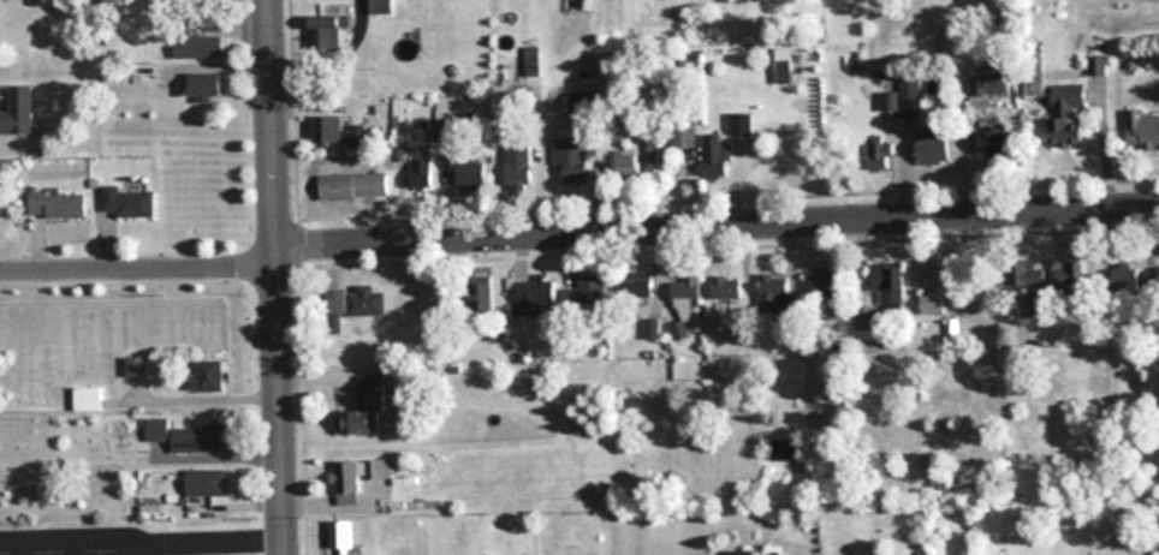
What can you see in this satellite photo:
building: (381, 6)
building: (329, 30)
building: (198, 46)
building: (780, 59)
building: (531, 61)
building: (988, 82)
building: (201, 84)
building: (1033, 85)
building: (910, 95)
building: (586, 102)
building: (18, 111)
building: (1066, 114)
building: (739, 121)
building: (1142, 129)
building: (335, 130)
building: (683, 136)
building: (993, 143)
building: (933, 147)
building: (880, 155)
building: (717, 156)
building: (571, 160)
building: (650, 162)
building: (628, 165)
building: (518, 166)
building: (466, 172)
building: (420, 173)
building: (352, 185)
building: (129, 202)
building: (58, 204)
road: (718, 227)
road: (138, 255)
road: (277, 276)
building: (1128, 280)
building: (887, 281)
building: (819, 284)
building: (1070, 284)
building: (637, 285)
building: (727, 287)
building: (685, 288)
building: (773, 293)
building: (480, 294)
building: (584, 294)
building: (1036, 296)
building: (534, 297)
building: (364, 302)
building: (932, 303)
building: (866, 322)
building: (137, 366)
building: (208, 376)
building: (87, 399)
building: (364, 408)
building: (185, 436)
building: (379, 470)
building: (206, 483)
building: (345, 483)
road: (192, 536)
building: (343, 538)
building: (739, 553)

